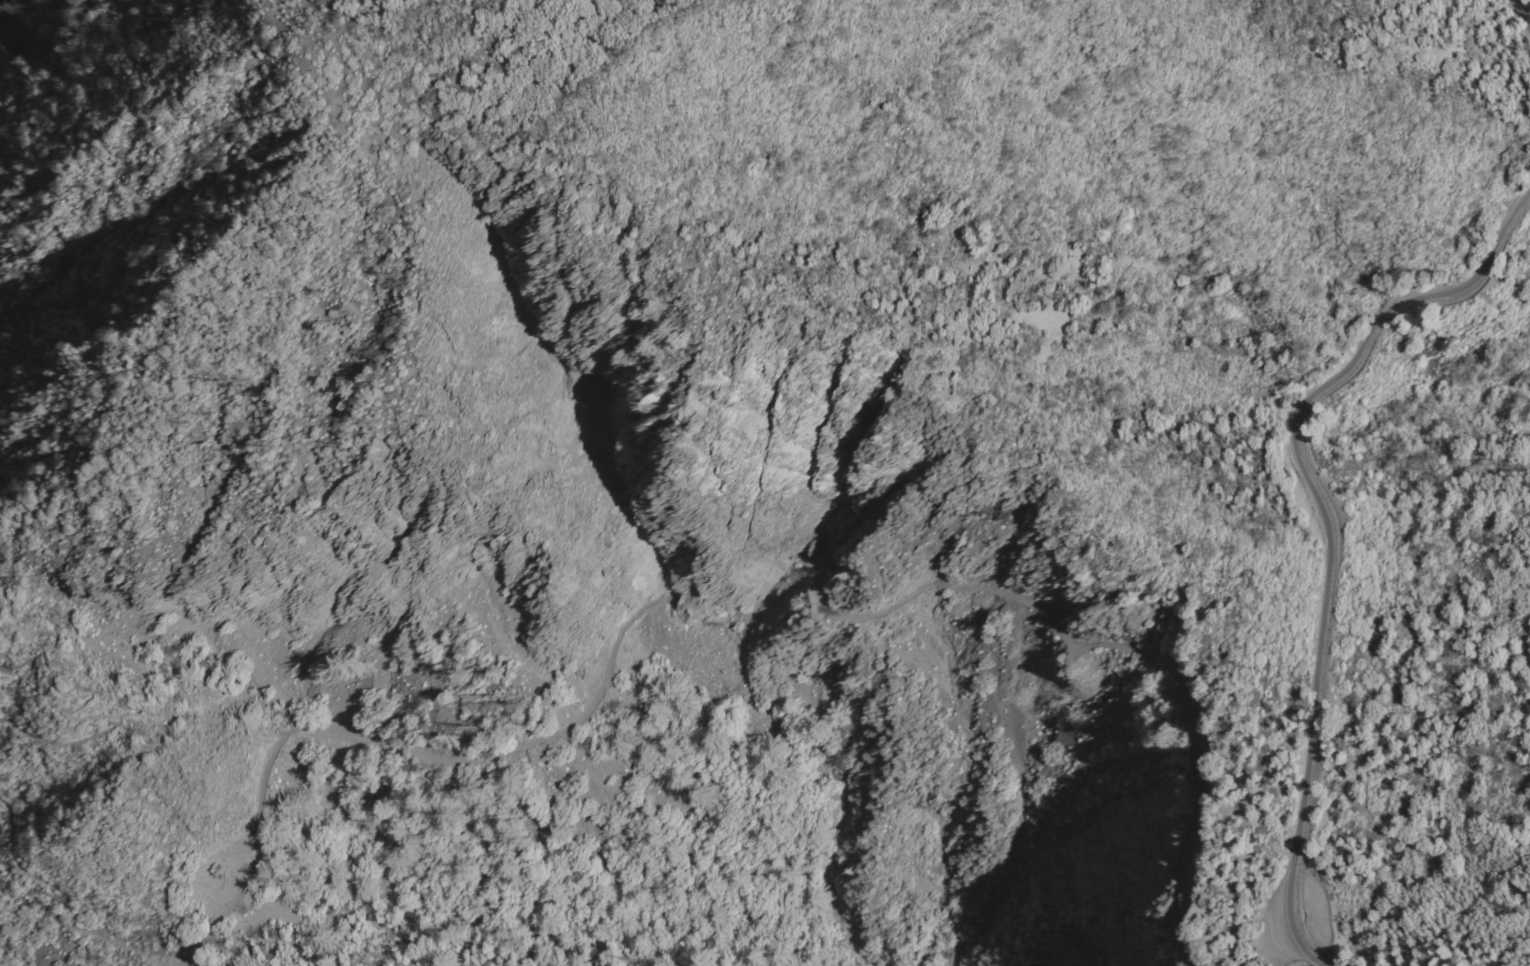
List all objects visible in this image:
road: (1519, 13)
road: (333, 33)
road: (1319, 514)
road: (1099, 643)
road: (63, 709)
road: (385, 742)
road: (1418, 816)
road: (61, 893)
parking lot: (1315, 913)
parking lot: (1267, 928)
building: (163, 935)
storage tank: (163, 935)
road: (1294, 960)
road: (1319, 962)

